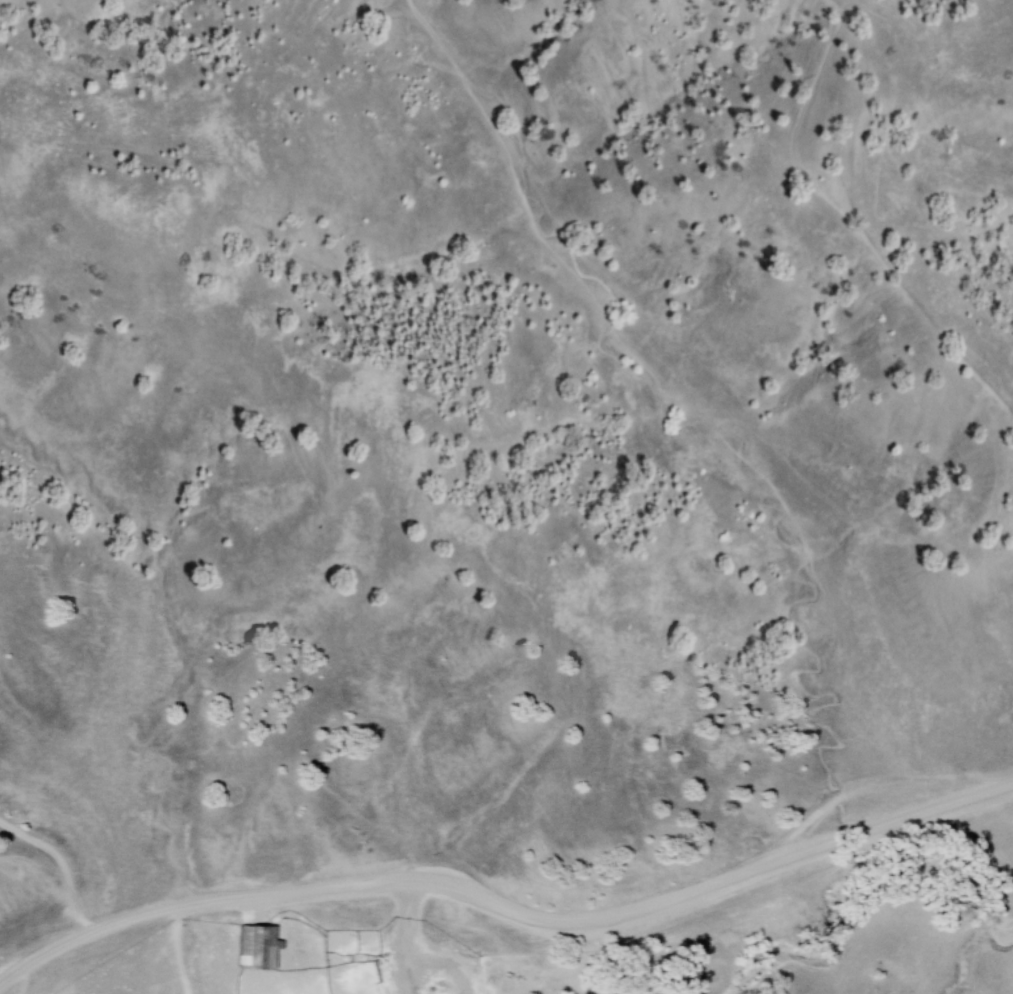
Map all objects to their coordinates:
road: (505, 902)
road: (420, 915)
road: (435, 948)

